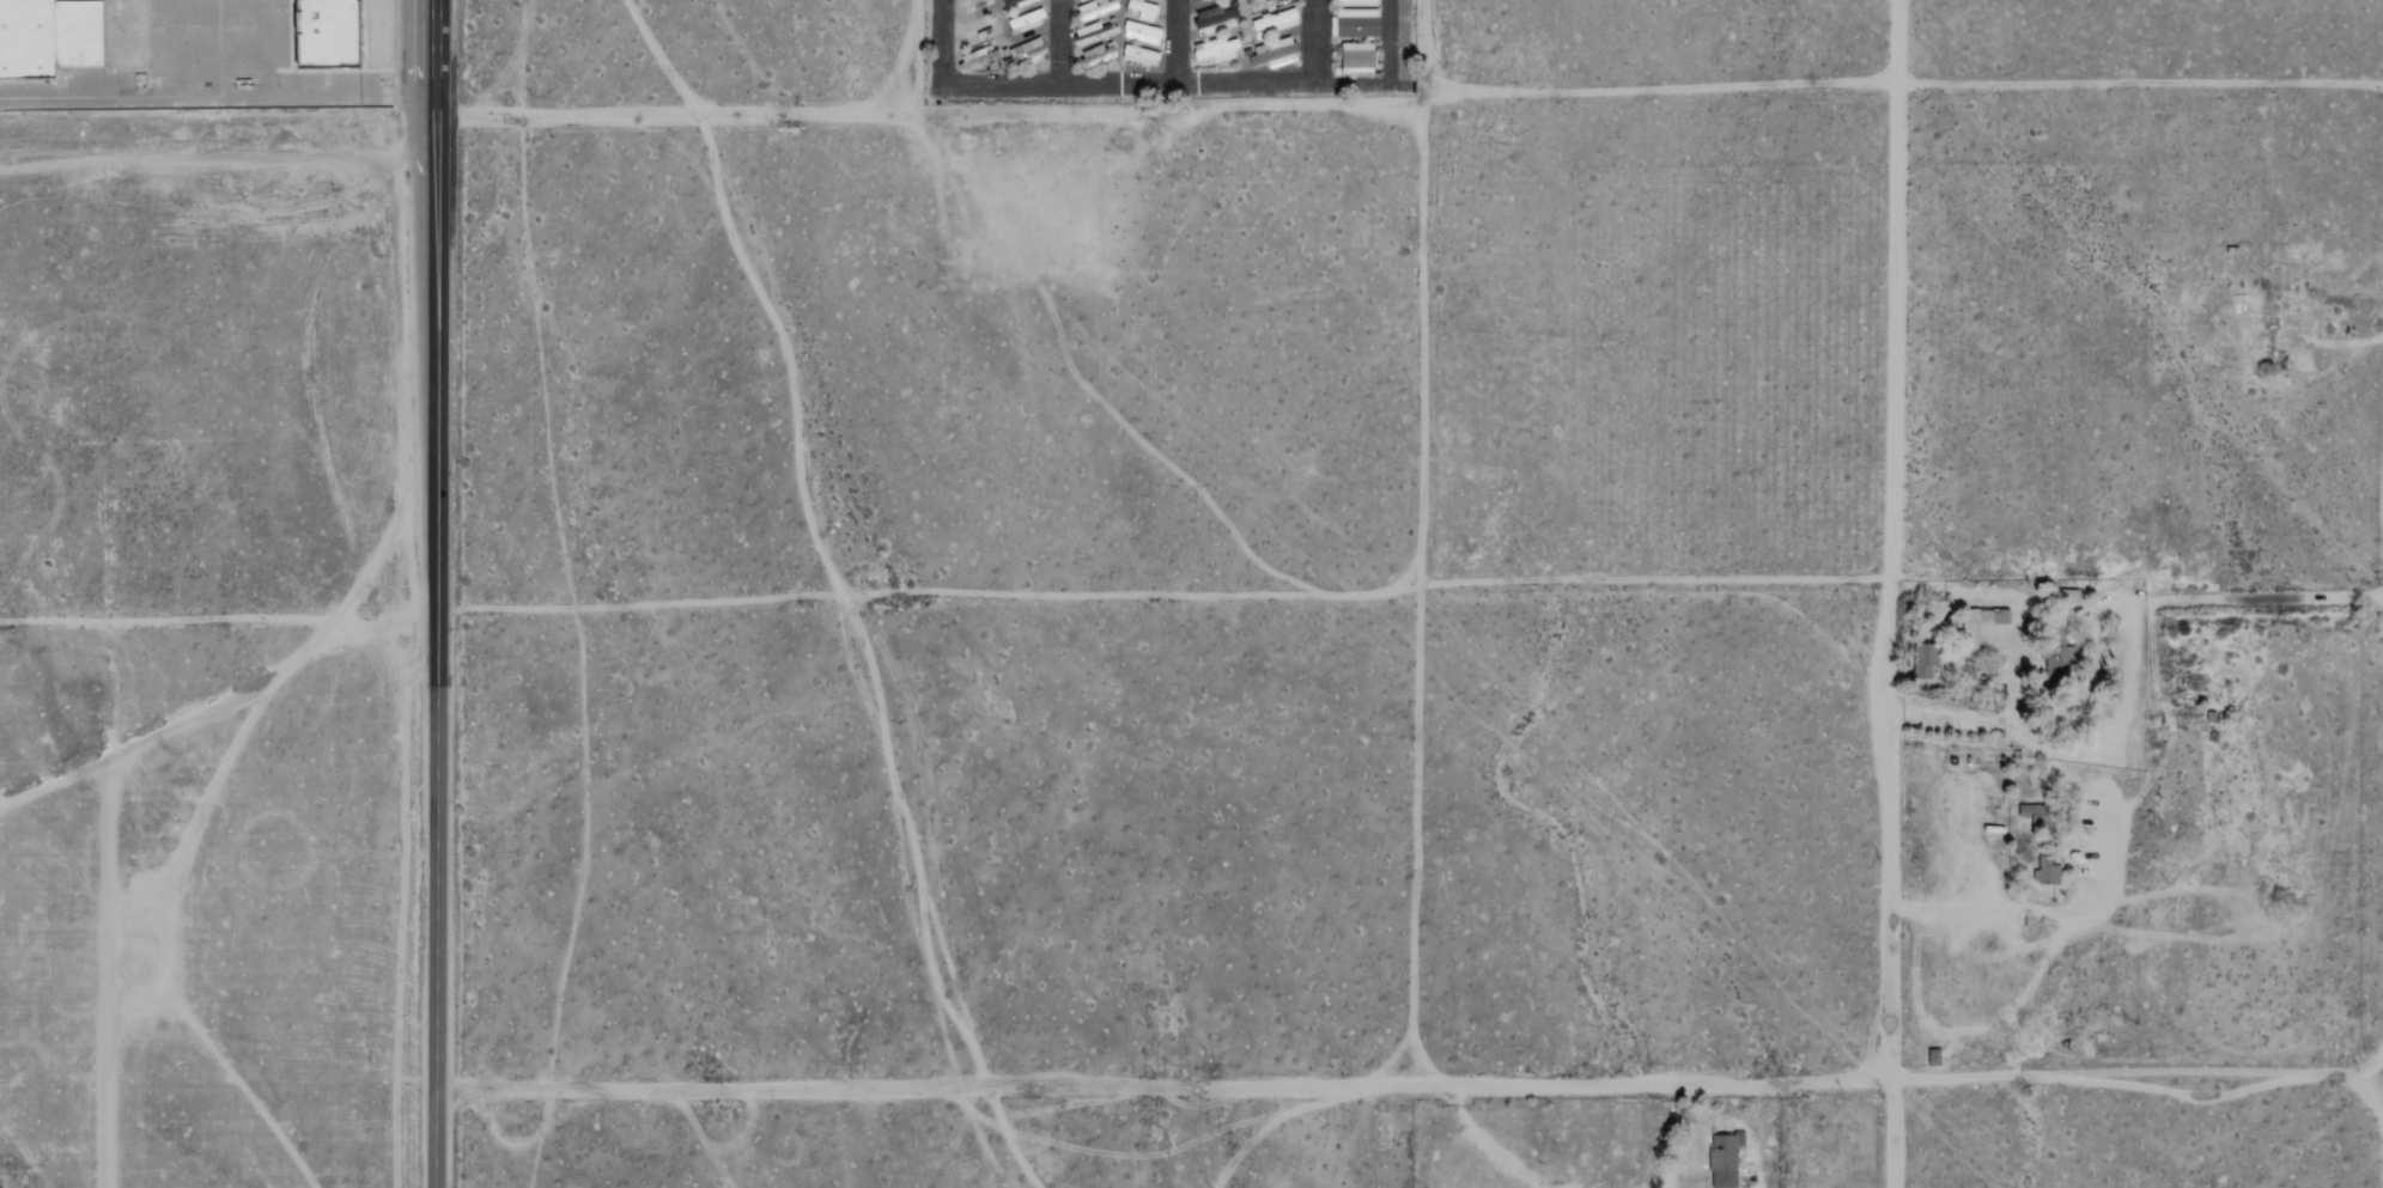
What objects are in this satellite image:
building: (1081, 0)
building: (1258, 0)
building: (962, 1)
building: (1014, 2)
building: (1356, 2)
building: (1096, 8)
building: (1143, 11)
building: (1217, 19)
building: (1026, 20)
building: (1273, 22)
building: (1357, 23)
building: (326, 32)
building: (1142, 32)
building: (1089, 33)
building: (48, 36)
road: (1059, 44)
road: (1178, 44)
road: (394, 47)
building: (1218, 49)
building: (1007, 54)
building: (1273, 54)
building: (1136, 55)
parking lot: (239, 57)
building: (1358, 57)
road: (1397, 84)
road: (2140, 85)
road: (1126, 89)
road: (212, 95)
road: (1893, 291)
road: (1410, 589)
road: (437, 593)
building: (2002, 615)
building: (1971, 635)
building: (1926, 658)
building: (2060, 658)
road: (1990, 718)
building: (2049, 873)
road: (1891, 885)
road: (1831, 1080)
road: (1104, 1083)
road: (1683, 1137)
road: (1487, 1145)
building: (1724, 1160)

